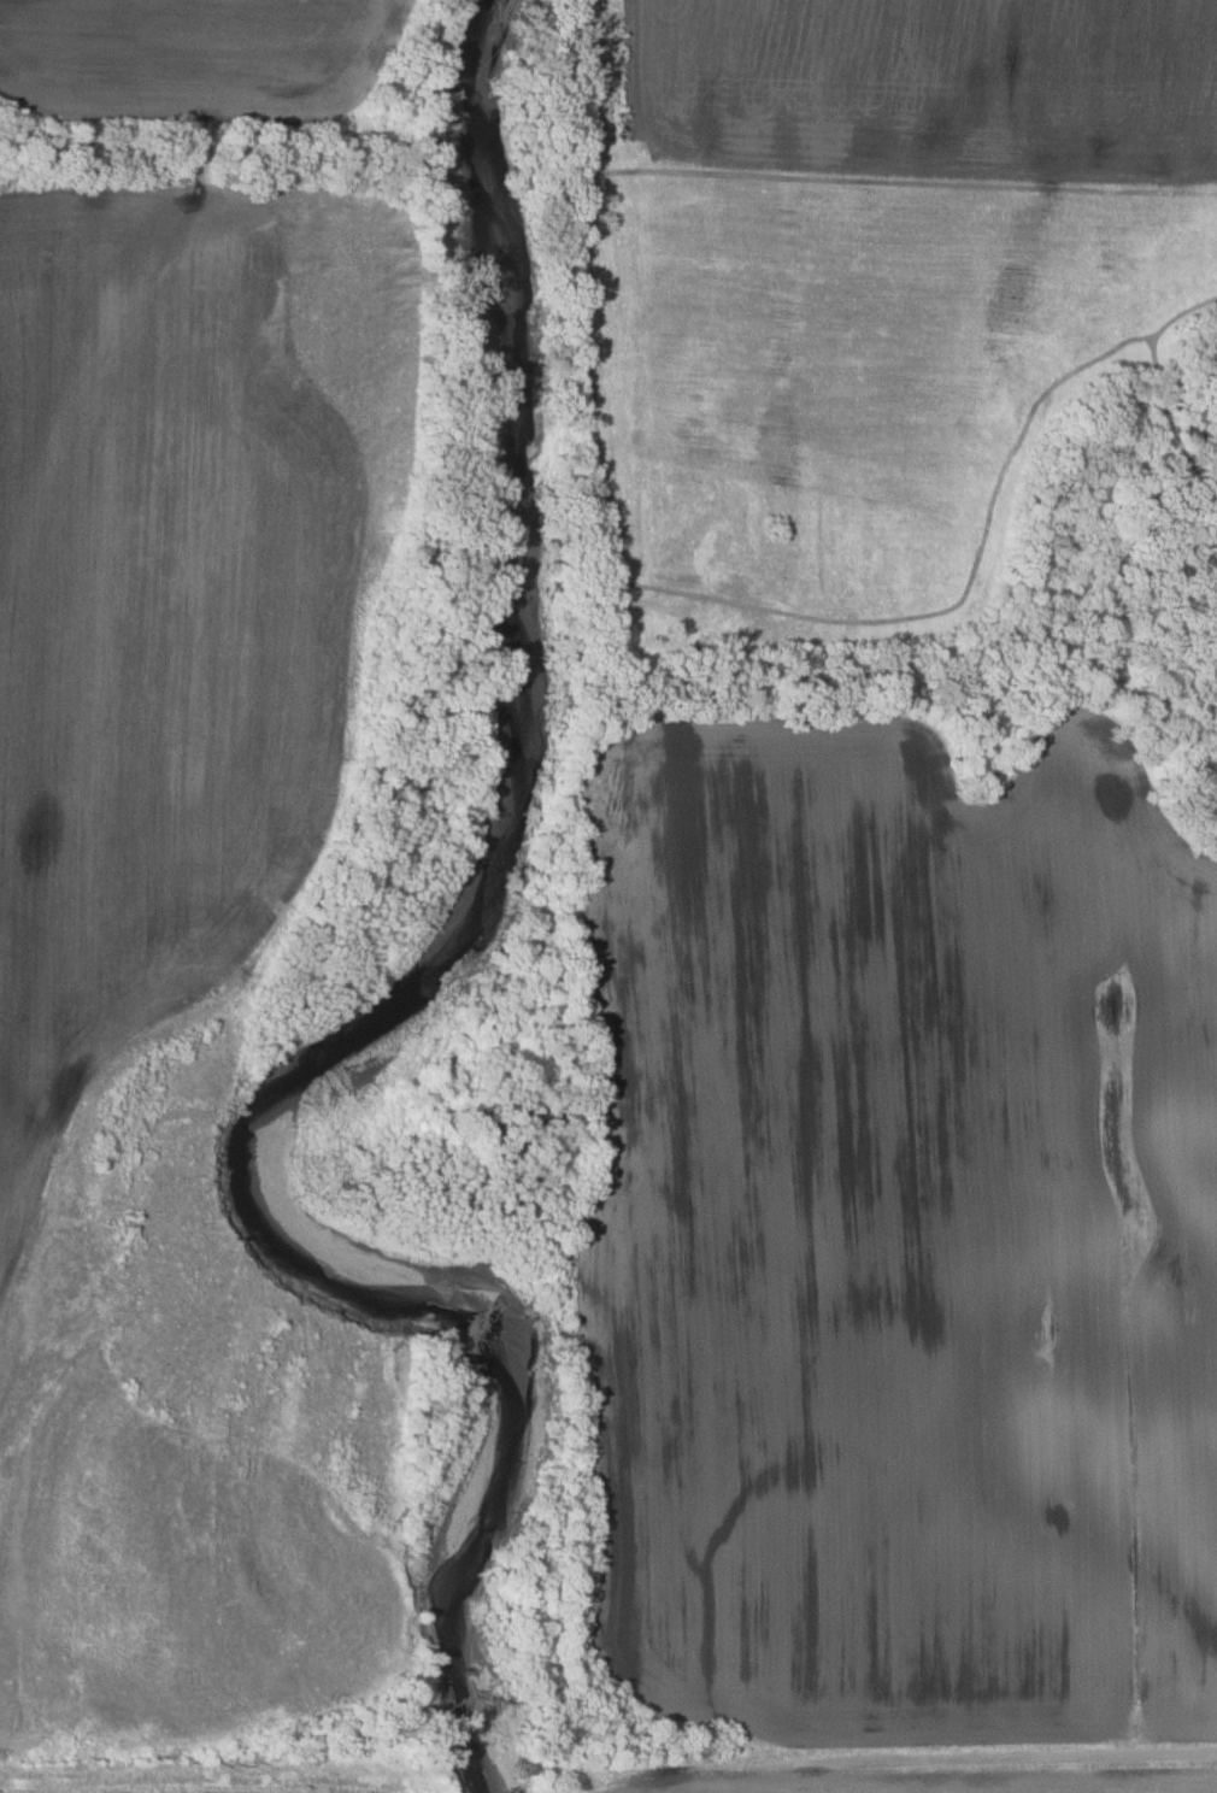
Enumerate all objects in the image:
road: (889, 1758)
road: (511, 1768)
road: (229, 1773)

